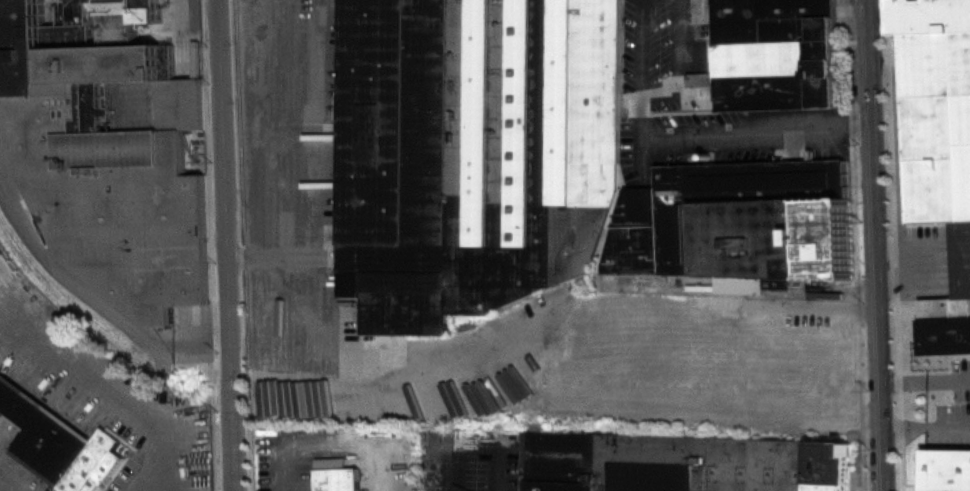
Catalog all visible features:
road: (641, 1)
road: (641, 49)
building: (777, 54)
road: (643, 119)
road: (858, 122)
road: (808, 124)
road: (715, 129)
building: (112, 150)
building: (942, 150)
road: (317, 169)
building: (739, 224)
road: (227, 245)
road: (877, 245)
road: (791, 305)
railway: (79, 310)
building: (713, 359)
road: (925, 379)
road: (104, 383)
road: (926, 428)
road: (337, 439)
building: (59, 441)
building: (684, 463)
building: (945, 469)
building: (341, 479)

